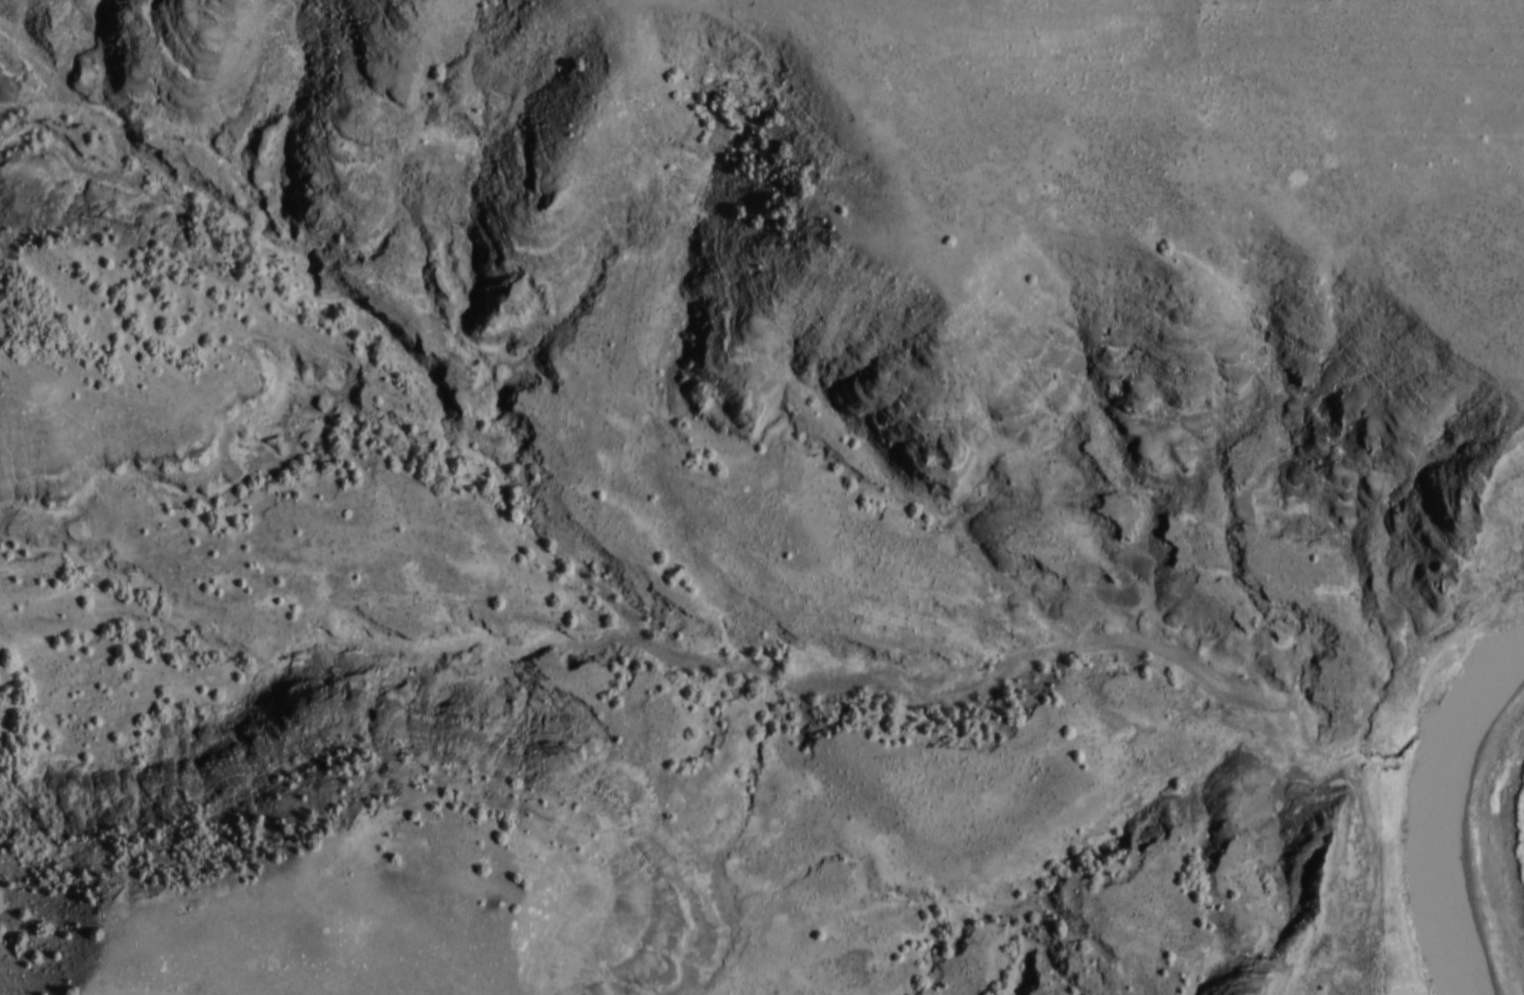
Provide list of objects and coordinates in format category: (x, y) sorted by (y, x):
river: (1471, 840)

